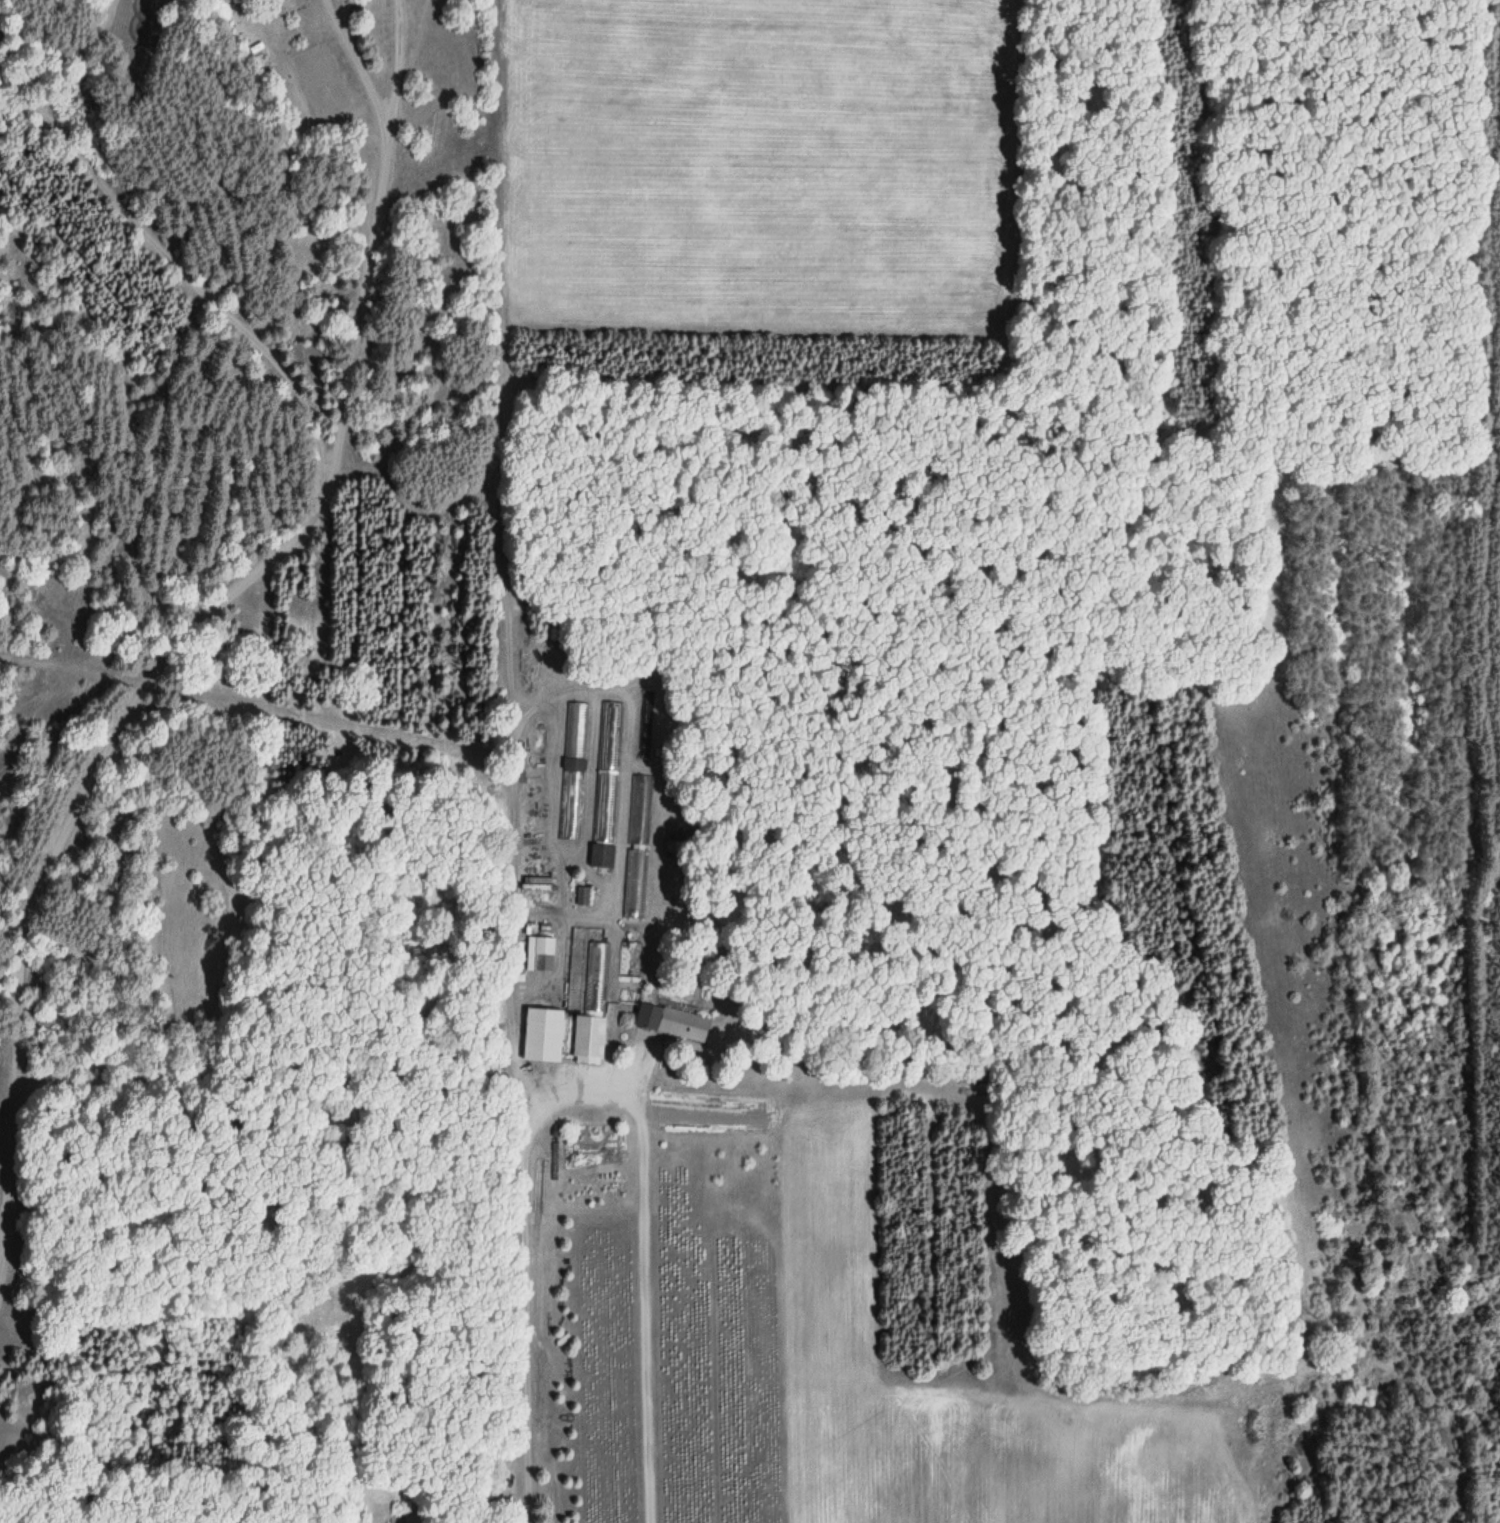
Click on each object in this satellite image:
road: (123, 61)
road: (164, 259)
road: (268, 404)
road: (232, 582)
building: (573, 771)
building: (606, 784)
building: (638, 847)
building: (535, 883)
building: (539, 953)
building: (630, 960)
building: (588, 1000)
building: (655, 1020)
building: (542, 1034)
road: (584, 1087)

